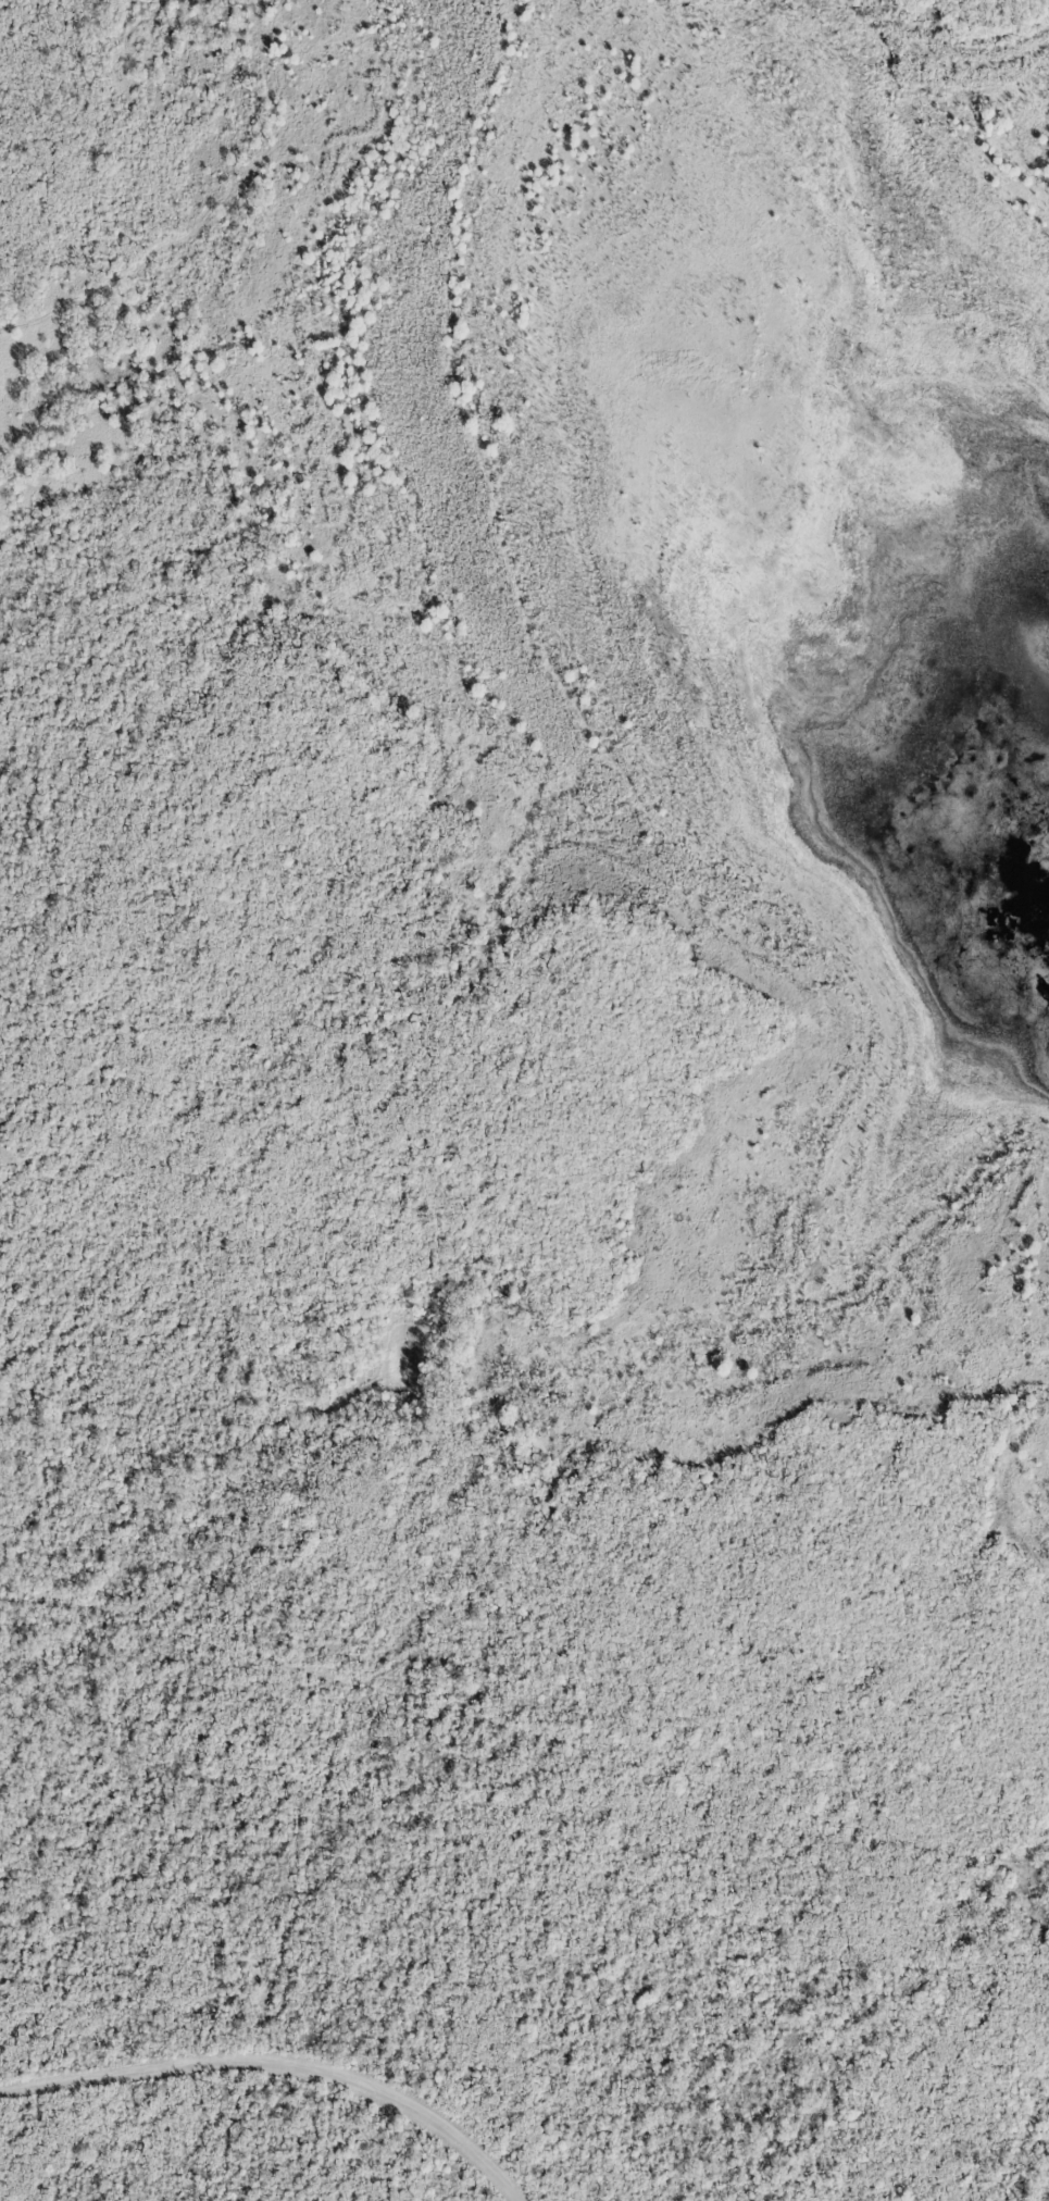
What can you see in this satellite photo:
road: (278, 2065)

